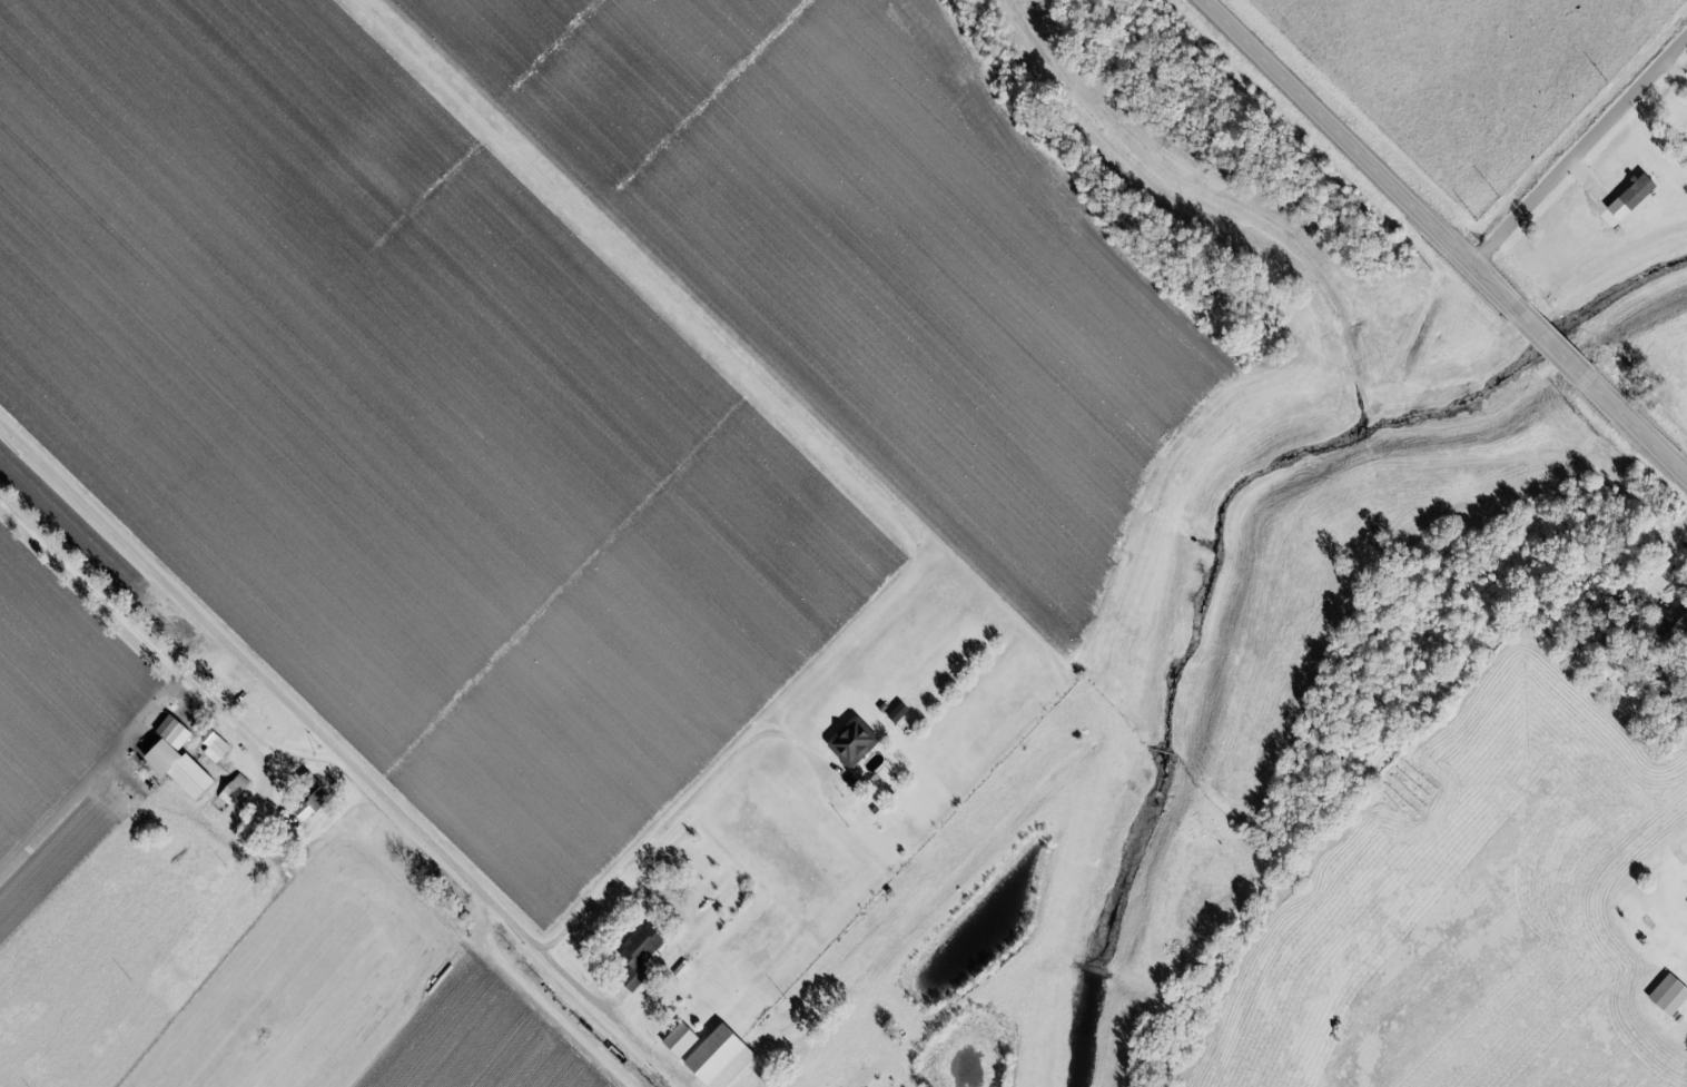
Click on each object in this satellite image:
road: (1576, 154)
road: (1349, 155)
building: (1624, 202)
road: (1549, 347)
road: (1637, 432)
building: (1670, 625)
road: (149, 635)
building: (899, 711)
building: (855, 740)
building: (216, 745)
road: (342, 752)
building: (181, 758)
building: (234, 789)
building: (314, 802)
road: (684, 811)
building: (642, 953)
building: (1671, 994)
road: (425, 995)
road: (550, 1007)
building: (683, 1039)
building: (723, 1057)
road: (752, 1079)

